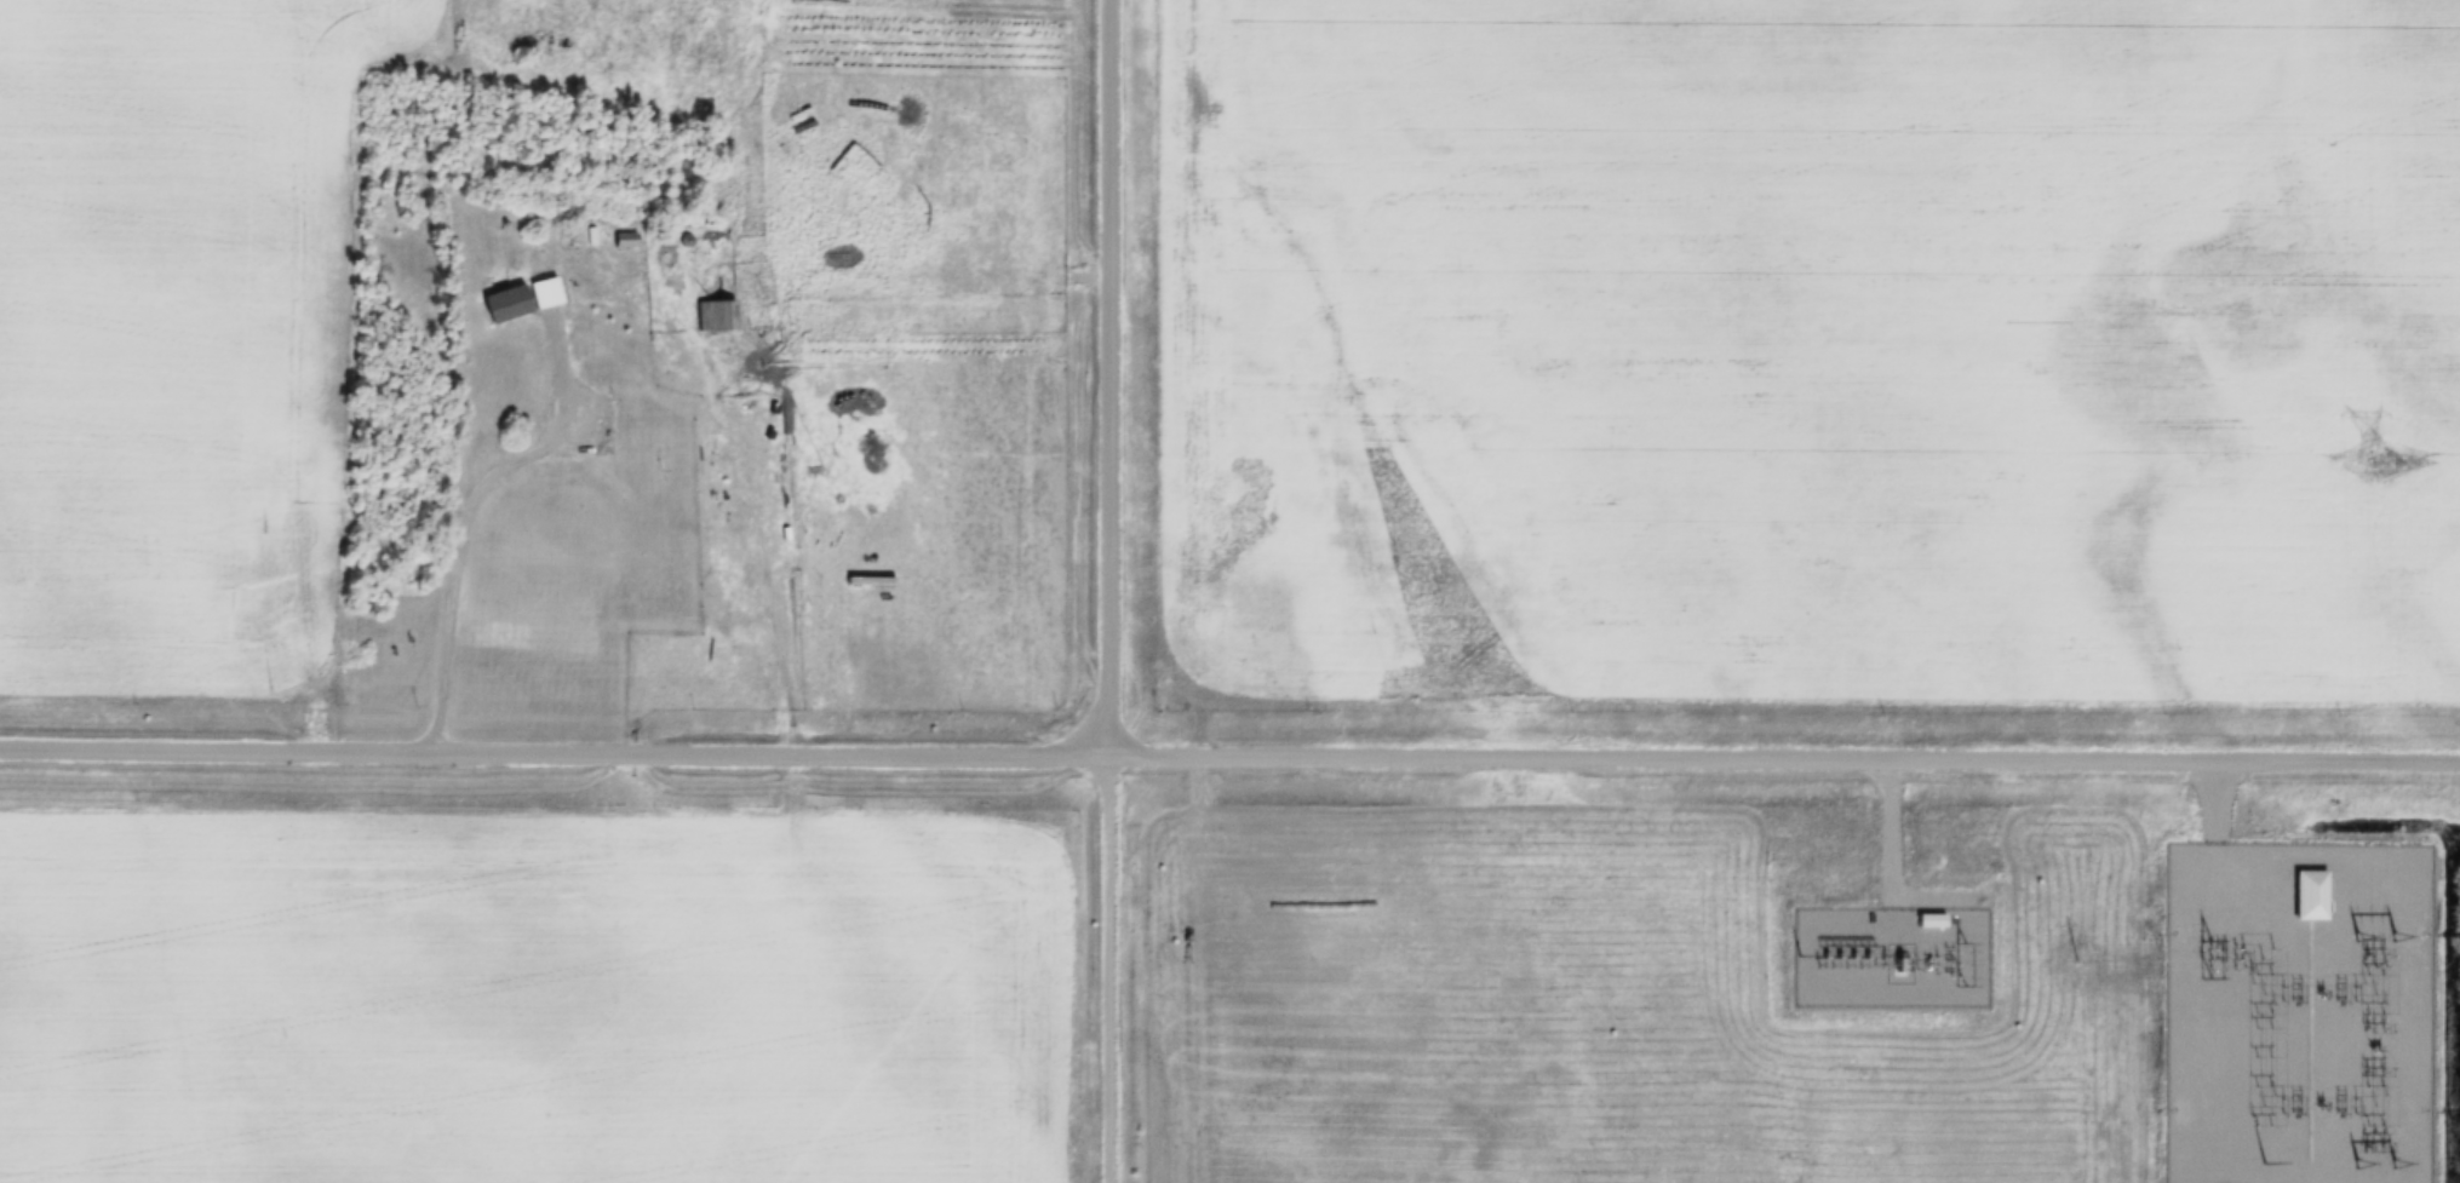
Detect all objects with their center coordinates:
building: (497, 288)
building: (715, 316)
building: (543, 395)
building: (584, 433)
power tower: (2374, 461)
road: (1112, 591)
road: (1229, 756)

